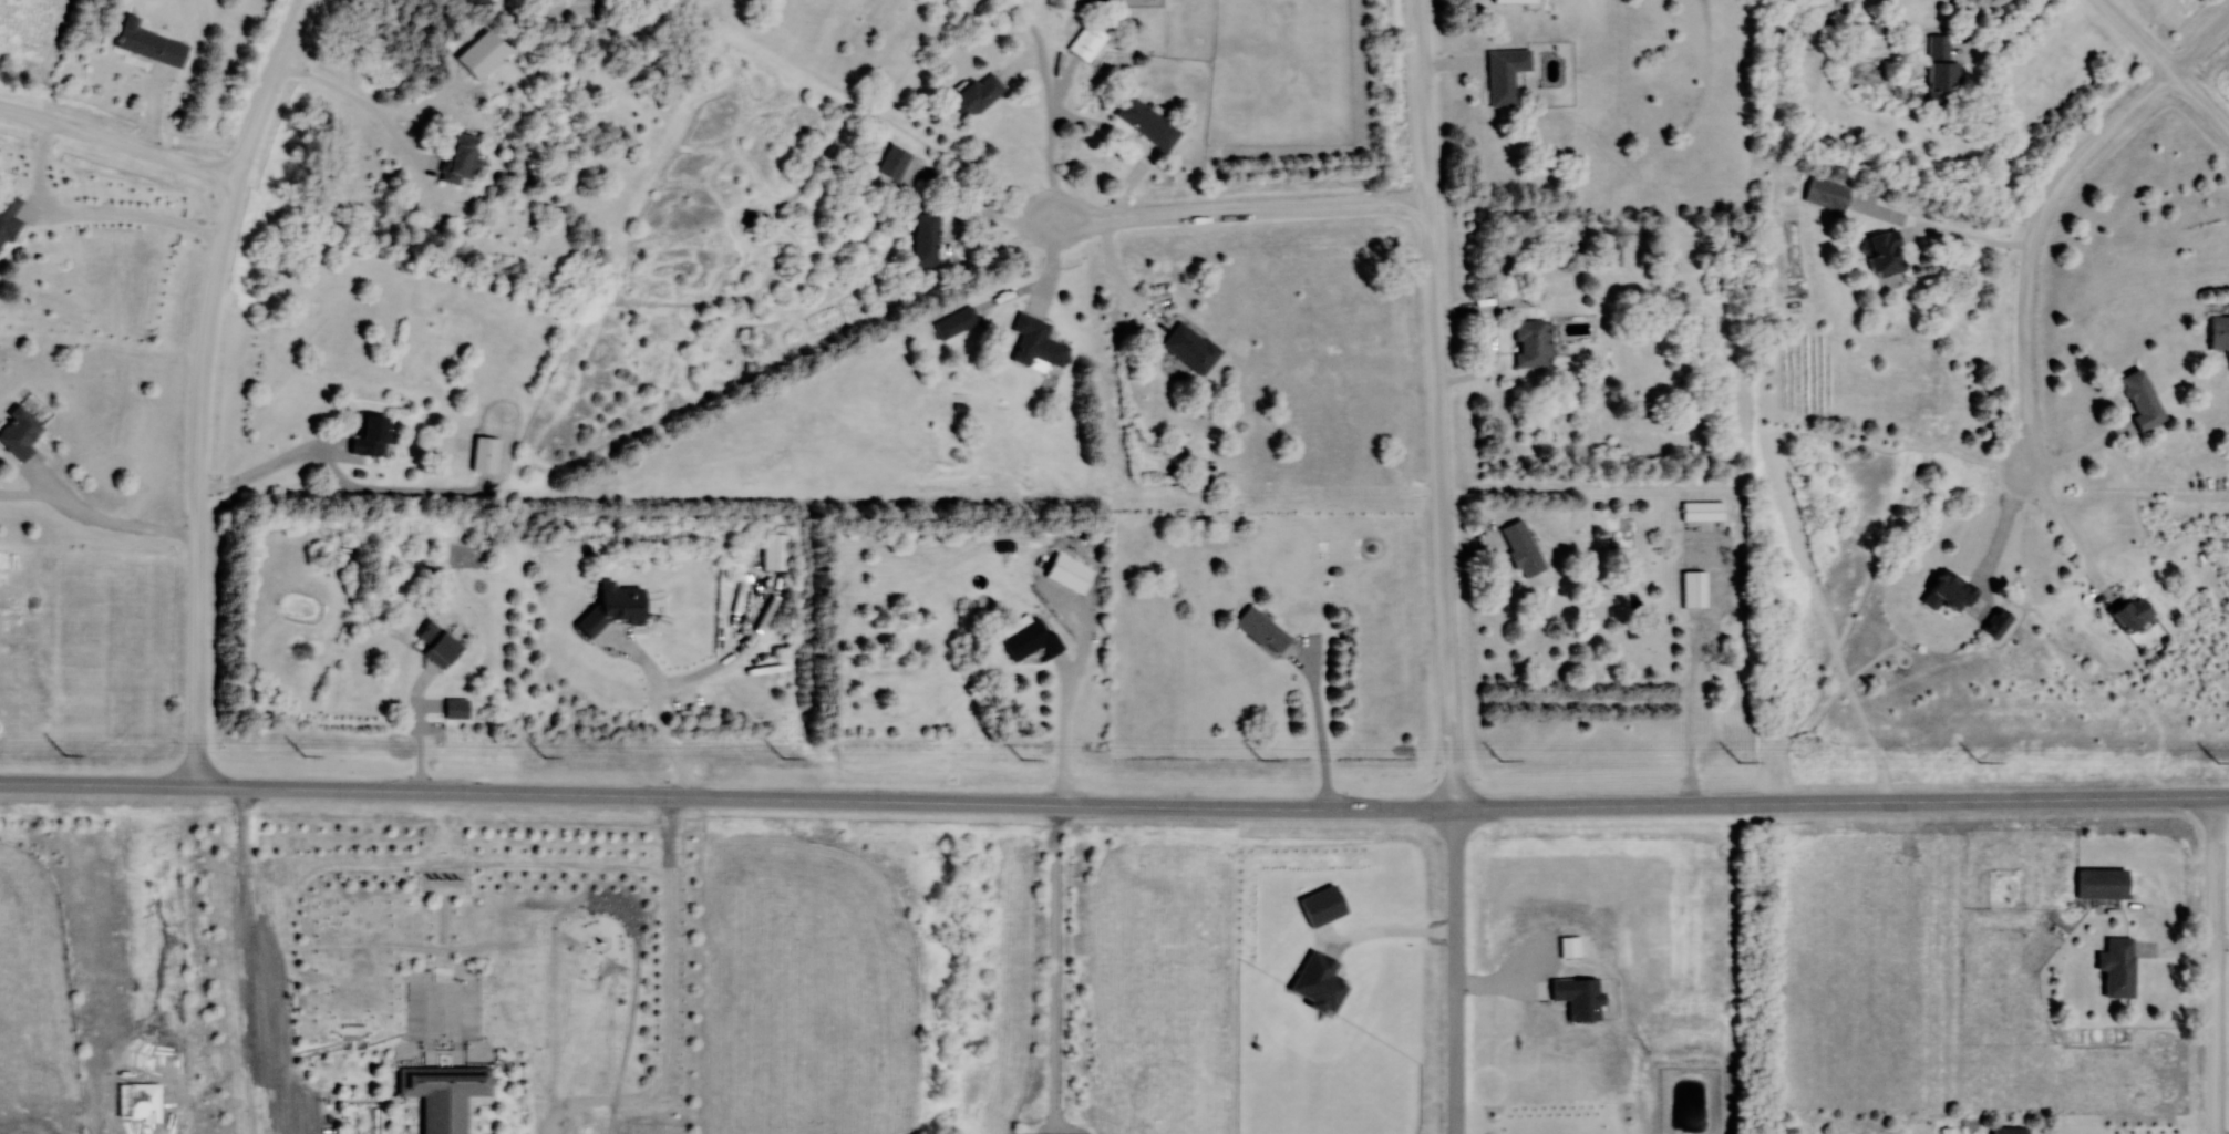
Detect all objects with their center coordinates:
building: (1515, 1)
road: (576, 6)
building: (1872, 34)
road: (2140, 35)
road: (2008, 37)
building: (1087, 42)
building: (148, 43)
road: (2201, 44)
building: (483, 54)
building: (1942, 71)
building: (1505, 74)
building: (974, 96)
road: (2201, 100)
road: (362, 104)
building: (1147, 123)
road: (1052, 135)
road: (120, 142)
building: (462, 158)
building: (895, 162)
building: (1827, 194)
road: (1242, 210)
building: (8, 217)
road: (1973, 238)
building: (926, 239)
road: (2033, 245)
building: (1885, 254)
building: (1611, 255)
road: (1121, 278)
building: (956, 323)
building: (2219, 332)
building: (1036, 343)
building: (1529, 343)
building: (1191, 348)
road: (203, 383)
building: (2143, 400)
road: (1437, 404)
building: (19, 433)
building: (372, 436)
road: (2081, 453)
building: (485, 455)
road: (269, 468)
road: (415, 492)
building: (1704, 511)
road: (107, 520)
road: (2003, 526)
road: (2071, 534)
building: (1523, 547)
building: (774, 550)
building: (1070, 571)
building: (1695, 588)
building: (1950, 592)
building: (612, 608)
building: (2134, 614)
building: (1999, 622)
building: (1262, 630)
building: (1030, 636)
building: (438, 645)
road: (1067, 703)
building: (457, 708)
road: (658, 709)
road: (422, 726)
road: (1320, 730)
power tower: (63, 755)
power tower: (544, 756)
power tower: (303, 757)
power tower: (783, 757)
power tower: (1023, 759)
power tower: (1260, 760)
power tower: (1500, 760)
power tower: (1740, 762)
power tower: (1978, 762)
power tower: (2216, 763)
road: (1994, 800)
road: (879, 801)
road: (241, 848)
road: (441, 860)
building: (443, 879)
building: (2103, 883)
road: (250, 915)
road: (1389, 932)
building: (2120, 965)
road: (2215, 966)
road: (1055, 969)
road: (1456, 971)
road: (668, 1002)
building: (443, 1093)
building: (2011, 1131)

